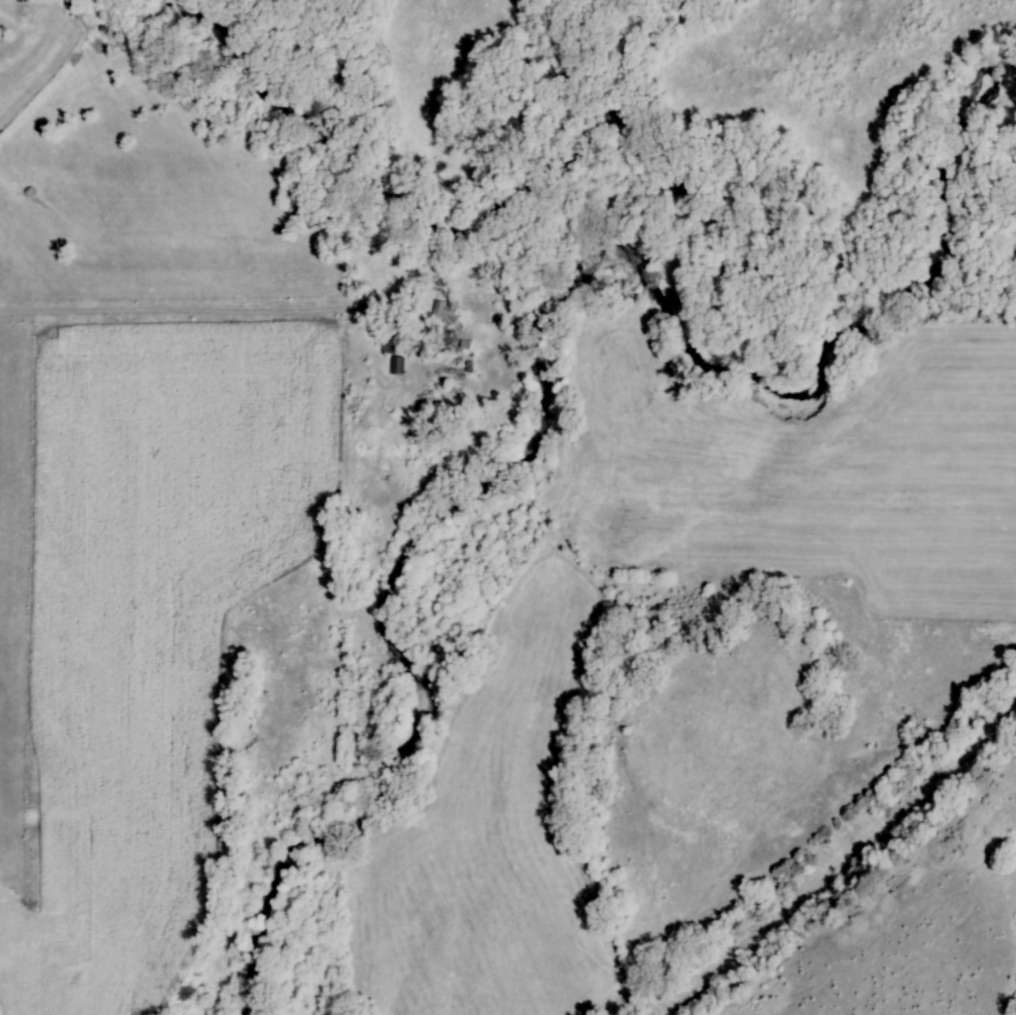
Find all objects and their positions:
building: (445, 310)
road: (173, 312)
building: (397, 365)
building: (13, 1001)

